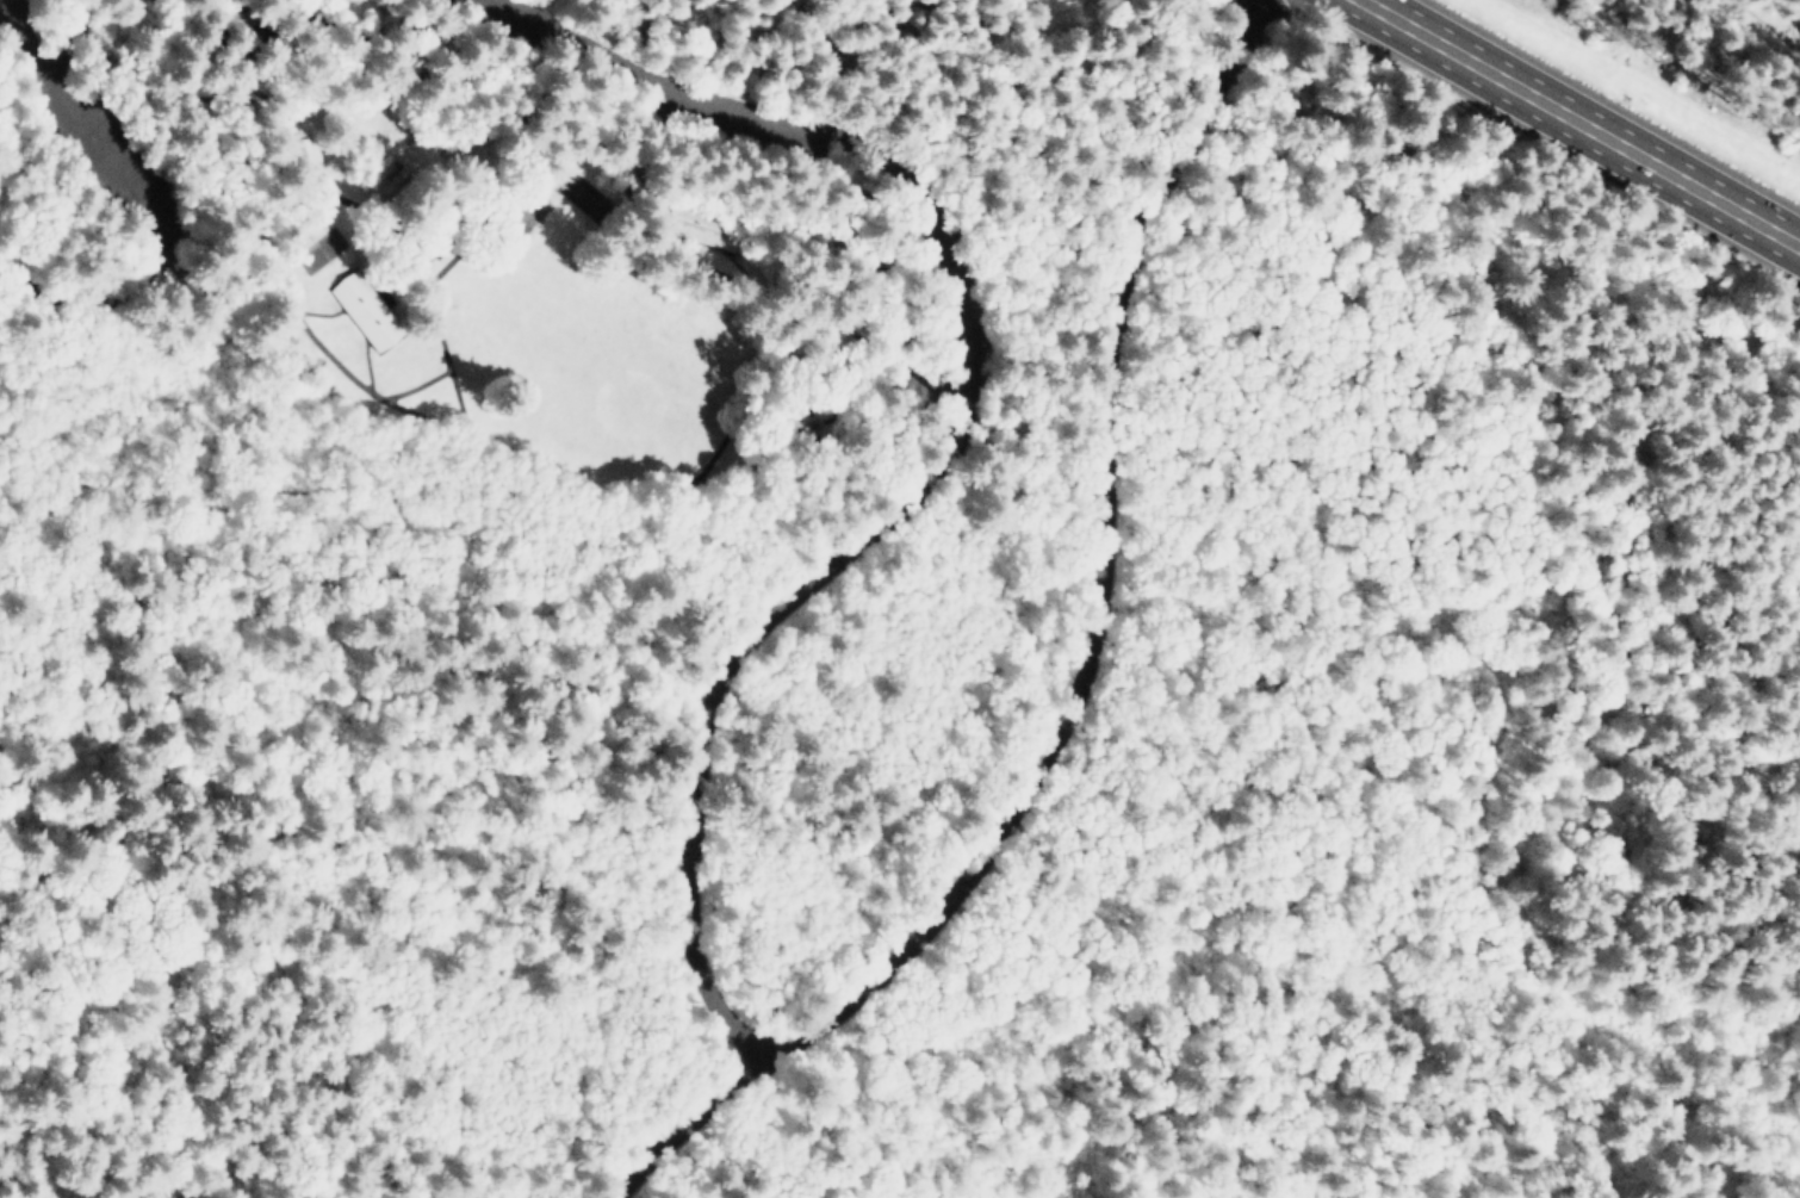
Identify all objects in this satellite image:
road: (0, 0)
road: (1794, 38)
road: (1581, 122)
road: (153, 209)
building: (366, 310)
road: (472, 421)
road: (960, 446)
road: (1088, 678)

